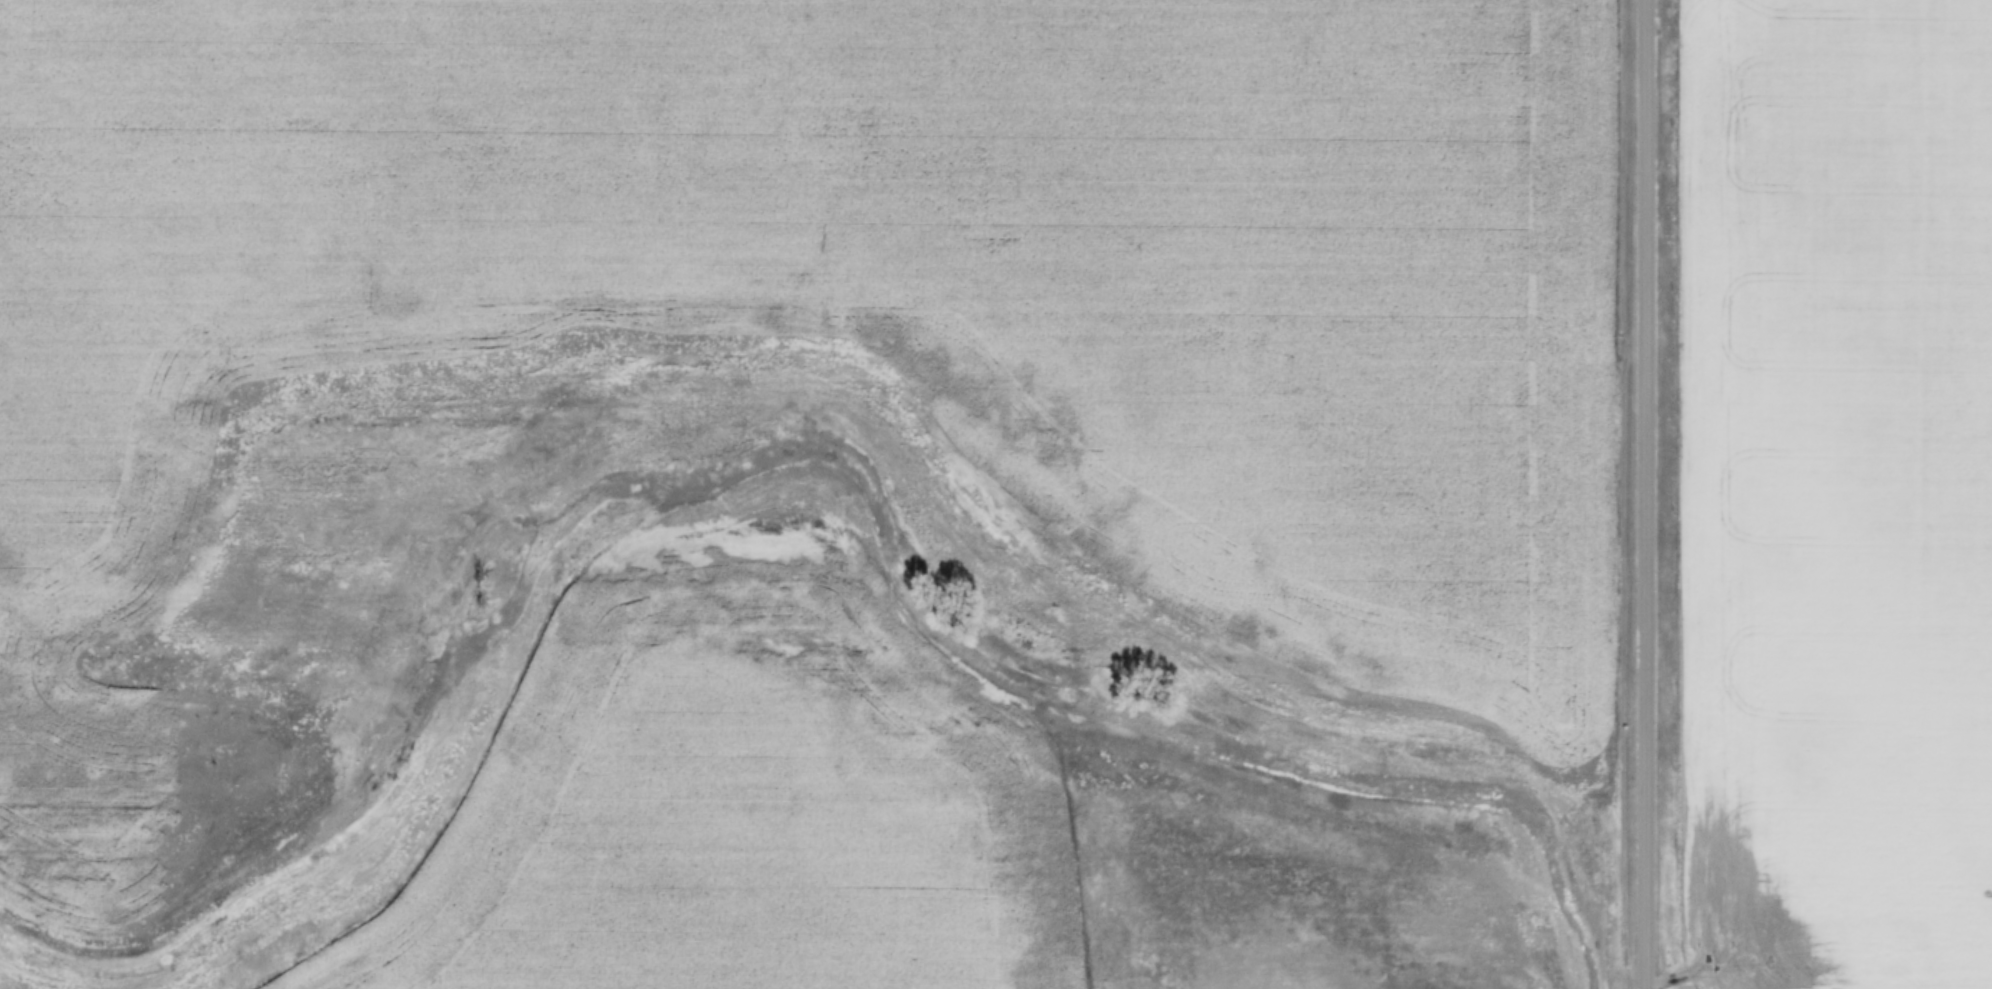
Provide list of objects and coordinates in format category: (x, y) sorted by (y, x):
road: (1647, 494)

